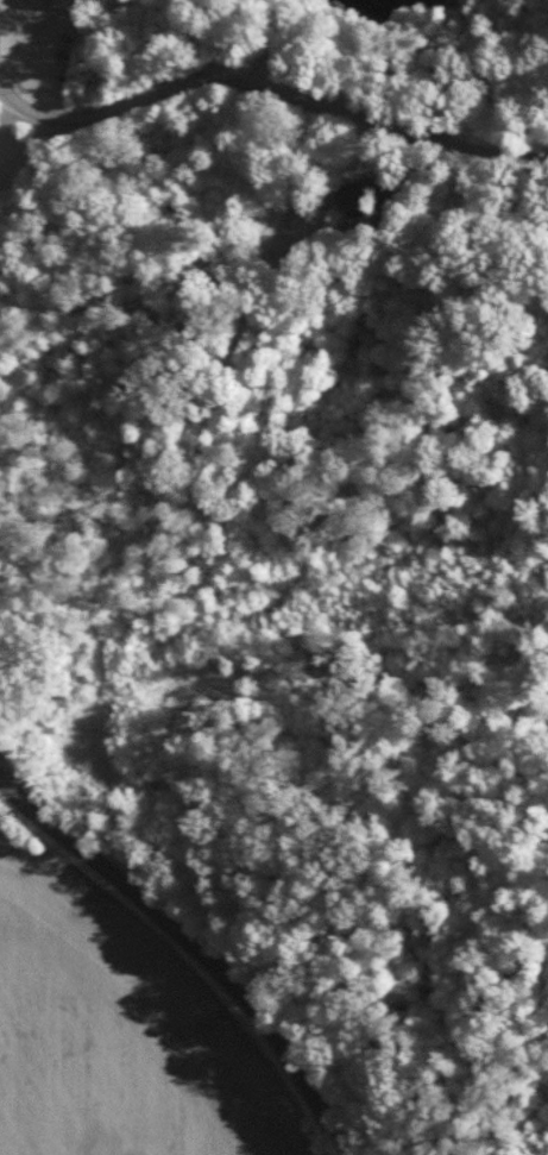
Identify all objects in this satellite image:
building: (63, 2)
road: (269, 99)
building: (357, 190)
road: (172, 922)

